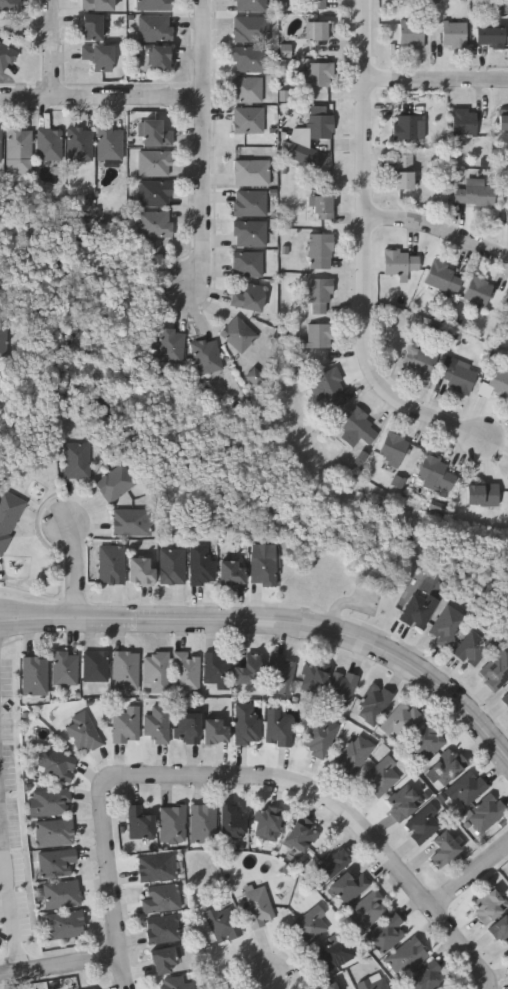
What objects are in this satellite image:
building: (314, 3)
building: (95, 4)
building: (152, 4)
building: (8, 5)
building: (248, 5)
building: (91, 26)
building: (153, 27)
building: (249, 29)
building: (317, 29)
building: (453, 32)
building: (410, 33)
building: (488, 34)
road: (54, 50)
building: (5, 56)
building: (97, 56)
building: (158, 58)
building: (248, 58)
building: (317, 73)
road: (438, 80)
building: (246, 89)
road: (103, 100)
building: (247, 119)
building: (462, 120)
building: (503, 121)
building: (405, 125)
building: (154, 132)
building: (298, 137)
building: (17, 142)
building: (108, 142)
building: (47, 143)
building: (78, 143)
road: (205, 145)
building: (1, 146)
building: (153, 162)
building: (402, 170)
building: (250, 171)
building: (153, 193)
building: (472, 193)
building: (248, 202)
building: (321, 207)
building: (506, 215)
building: (153, 223)
road: (440, 229)
building: (248, 233)
building: (319, 249)
road: (369, 250)
building: (400, 262)
building: (246, 263)
building: (441, 275)
building: (318, 289)
building: (477, 290)
building: (247, 297)
building: (506, 313)
building: (237, 333)
building: (318, 335)
building: (2, 340)
building: (169, 345)
building: (205, 356)
building: (418, 362)
building: (256, 377)
building: (455, 377)
building: (499, 383)
building: (327, 390)
building: (356, 428)
building: (391, 448)
building: (75, 460)
building: (434, 473)
building: (114, 483)
building: (481, 493)
park: (313, 512)
building: (8, 515)
building: (130, 522)
building: (111, 565)
building: (201, 566)
building: (172, 567)
building: (262, 569)
road: (78, 570)
building: (140, 571)
building: (231, 574)
building: (417, 611)
road: (39, 612)
road: (39, 624)
building: (446, 626)
road: (316, 627)
building: (473, 648)
building: (95, 667)
building: (64, 669)
building: (216, 669)
building: (125, 671)
building: (185, 671)
building: (247, 671)
building: (156, 672)
building: (495, 672)
building: (280, 674)
building: (34, 677)
building: (313, 678)
building: (340, 690)
building: (505, 700)
building: (373, 704)
building: (400, 721)
building: (156, 724)
building: (125, 725)
building: (246, 725)
building: (187, 728)
building: (277, 728)
building: (81, 732)
building: (215, 732)
building: (320, 735)
building: (426, 742)
building: (354, 753)
building: (56, 765)
building: (447, 765)
road: (0, 774)
building: (380, 777)
building: (465, 789)
building: (51, 802)
building: (405, 803)
road: (339, 805)
building: (485, 813)
building: (231, 821)
building: (138, 824)
building: (171, 824)
building: (266, 824)
building: (422, 824)
building: (202, 825)
building: (53, 833)
building: (301, 835)
building: (442, 849)
building: (55, 863)
building: (332, 863)
building: (156, 868)
road: (470, 877)
road: (112, 880)
building: (348, 888)
building: (60, 895)
road: (10, 897)
building: (159, 899)
building: (257, 906)
building: (488, 906)
building: (368, 910)
building: (221, 922)
building: (64, 926)
building: (309, 926)
building: (500, 928)
building: (162, 930)
building: (387, 934)
building: (334, 955)
building: (406, 957)
building: (162, 962)
road: (61, 965)
building: (426, 977)
building: (175, 983)
road: (274, 983)
building: (373, 983)
road: (492, 983)
building: (329, 986)

